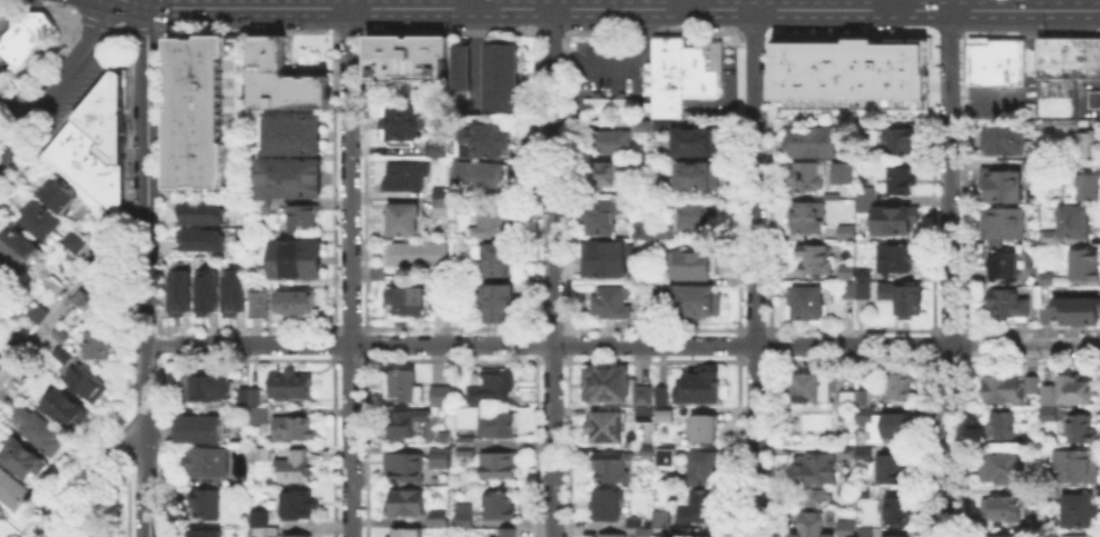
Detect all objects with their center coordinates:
road: (138, 2)
road: (296, 3)
road: (475, 3)
road: (552, 3)
road: (605, 3)
road: (726, 4)
road: (893, 4)
road: (1047, 4)
traffic signals: (167, 7)
road: (311, 7)
road: (570, 7)
road: (513, 8)
road: (746, 9)
road: (926, 10)
road: (665, 11)
road: (708, 11)
road: (772, 12)
road: (910, 12)
road: (453, 13)
road: (494, 13)
road: (737, 13)
road: (166, 16)
road: (662, 16)
road: (104, 24)
traffic signals: (98, 27)
road: (708, 28)
road: (117, 29)
road: (665, 29)
road: (453, 30)
road: (494, 30)
road: (909, 30)
road: (146, 31)
road: (168, 32)
building: (24, 33)
traffic signals: (147, 33)
road: (252, 33)
road: (451, 33)
road: (553, 33)
road: (654, 33)
road: (754, 33)
road: (350, 34)
road: (951, 34)
road: (1031, 34)
road: (852, 36)
building: (190, 44)
building: (227, 44)
building: (461, 54)
road: (474, 54)
building: (1089, 57)
building: (403, 59)
building: (501, 59)
road: (615, 60)
building: (995, 60)
parking lot: (606, 64)
building: (701, 69)
building: (848, 69)
building: (178, 71)
building: (666, 73)
building: (1055, 73)
building: (282, 77)
building: (461, 78)
road: (59, 81)
building: (501, 93)
building: (1093, 98)
building: (606, 105)
road: (14, 109)
building: (868, 123)
building: (641, 125)
building: (206, 126)
building: (404, 127)
building: (296, 136)
building: (816, 138)
building: (489, 140)
building: (903, 141)
building: (1005, 141)
building: (92, 142)
building: (611, 142)
building: (693, 143)
building: (1089, 146)
building: (442, 148)
building: (839, 171)
road: (350, 176)
building: (612, 176)
building: (697, 177)
building: (409, 178)
road: (768, 178)
building: (807, 178)
building: (483, 179)
road: (737, 180)
building: (289, 181)
building: (902, 181)
road: (335, 183)
road: (364, 183)
building: (1004, 186)
building: (1088, 187)
building: (59, 196)
building: (445, 203)
building: (881, 212)
building: (208, 213)
building: (602, 216)
building: (698, 216)
building: (808, 218)
building: (40, 220)
building: (304, 220)
building: (402, 220)
building: (494, 221)
building: (1003, 223)
building: (642, 226)
building: (1071, 227)
building: (844, 230)
building: (209, 240)
building: (77, 242)
building: (20, 246)
building: (420, 255)
building: (501, 259)
building: (898, 259)
building: (299, 260)
building: (606, 260)
building: (817, 260)
building: (696, 261)
building: (1006, 266)
building: (1086, 266)
road: (147, 271)
building: (847, 271)
road: (552, 272)
road: (755, 272)
road: (950, 272)
building: (7, 274)
building: (865, 274)
building: (1049, 278)
building: (56, 287)
building: (848, 289)
building: (864, 289)
building: (183, 291)
building: (209, 291)
building: (237, 291)
road: (69, 298)
building: (444, 299)
building: (696, 299)
building: (911, 299)
building: (1, 301)
building: (405, 301)
building: (296, 304)
building: (500, 304)
building: (808, 304)
building: (258, 305)
building: (612, 305)
building: (1010, 307)
building: (88, 308)
building: (1076, 308)
building: (41, 314)
building: (62, 336)
building: (16, 339)
road: (335, 339)
road: (364, 339)
road: (737, 344)
road: (769, 344)
building: (99, 345)
road: (623, 345)
building: (65, 357)
building: (3, 362)
building: (900, 382)
building: (89, 385)
building: (403, 385)
building: (608, 385)
building: (1032, 385)
building: (292, 386)
building: (497, 387)
building: (703, 387)
building: (206, 388)
building: (814, 388)
building: (1002, 388)
building: (1078, 390)
building: (646, 395)
building: (664, 395)
building: (1050, 396)
building: (251, 397)
building: (442, 397)
building: (860, 397)
building: (68, 410)
building: (665, 412)
building: (646, 415)
building: (1050, 416)
building: (259, 418)
building: (883, 422)
building: (404, 426)
building: (499, 426)
building: (996, 427)
building: (205, 428)
building: (608, 428)
building: (293, 429)
building: (707, 430)
building: (1083, 430)
building: (41, 431)
road: (351, 440)
road: (737, 445)
road: (770, 445)
building: (468, 447)
building: (862, 453)
building: (444, 456)
building: (669, 458)
building: (22, 459)
building: (209, 464)
building: (1079, 466)
building: (891, 467)
building: (294, 468)
building: (499, 468)
building: (407, 469)
building: (612, 469)
building: (1004, 469)
building: (816, 475)
road: (89, 478)
building: (11, 489)
building: (704, 489)
building: (862, 491)
building: (407, 504)
building: (609, 505)
building: (207, 506)
building: (298, 507)
building: (501, 507)
building: (896, 507)
building: (1012, 508)
building: (1, 511)
building: (1081, 513)
building: (466, 516)
building: (264, 519)
building: (440, 519)
building: (666, 519)
building: (637, 524)
building: (815, 525)
building: (849, 529)
building: (406, 533)
building: (868, 533)
building: (509, 534)
building: (646, 534)
building: (676, 534)
building: (207, 535)
building: (995, 535)
building: (1074, 535)
building: (96, 536)
building: (298, 536)
building: (612, 536)
building: (701, 536)
building: (893, 536)

